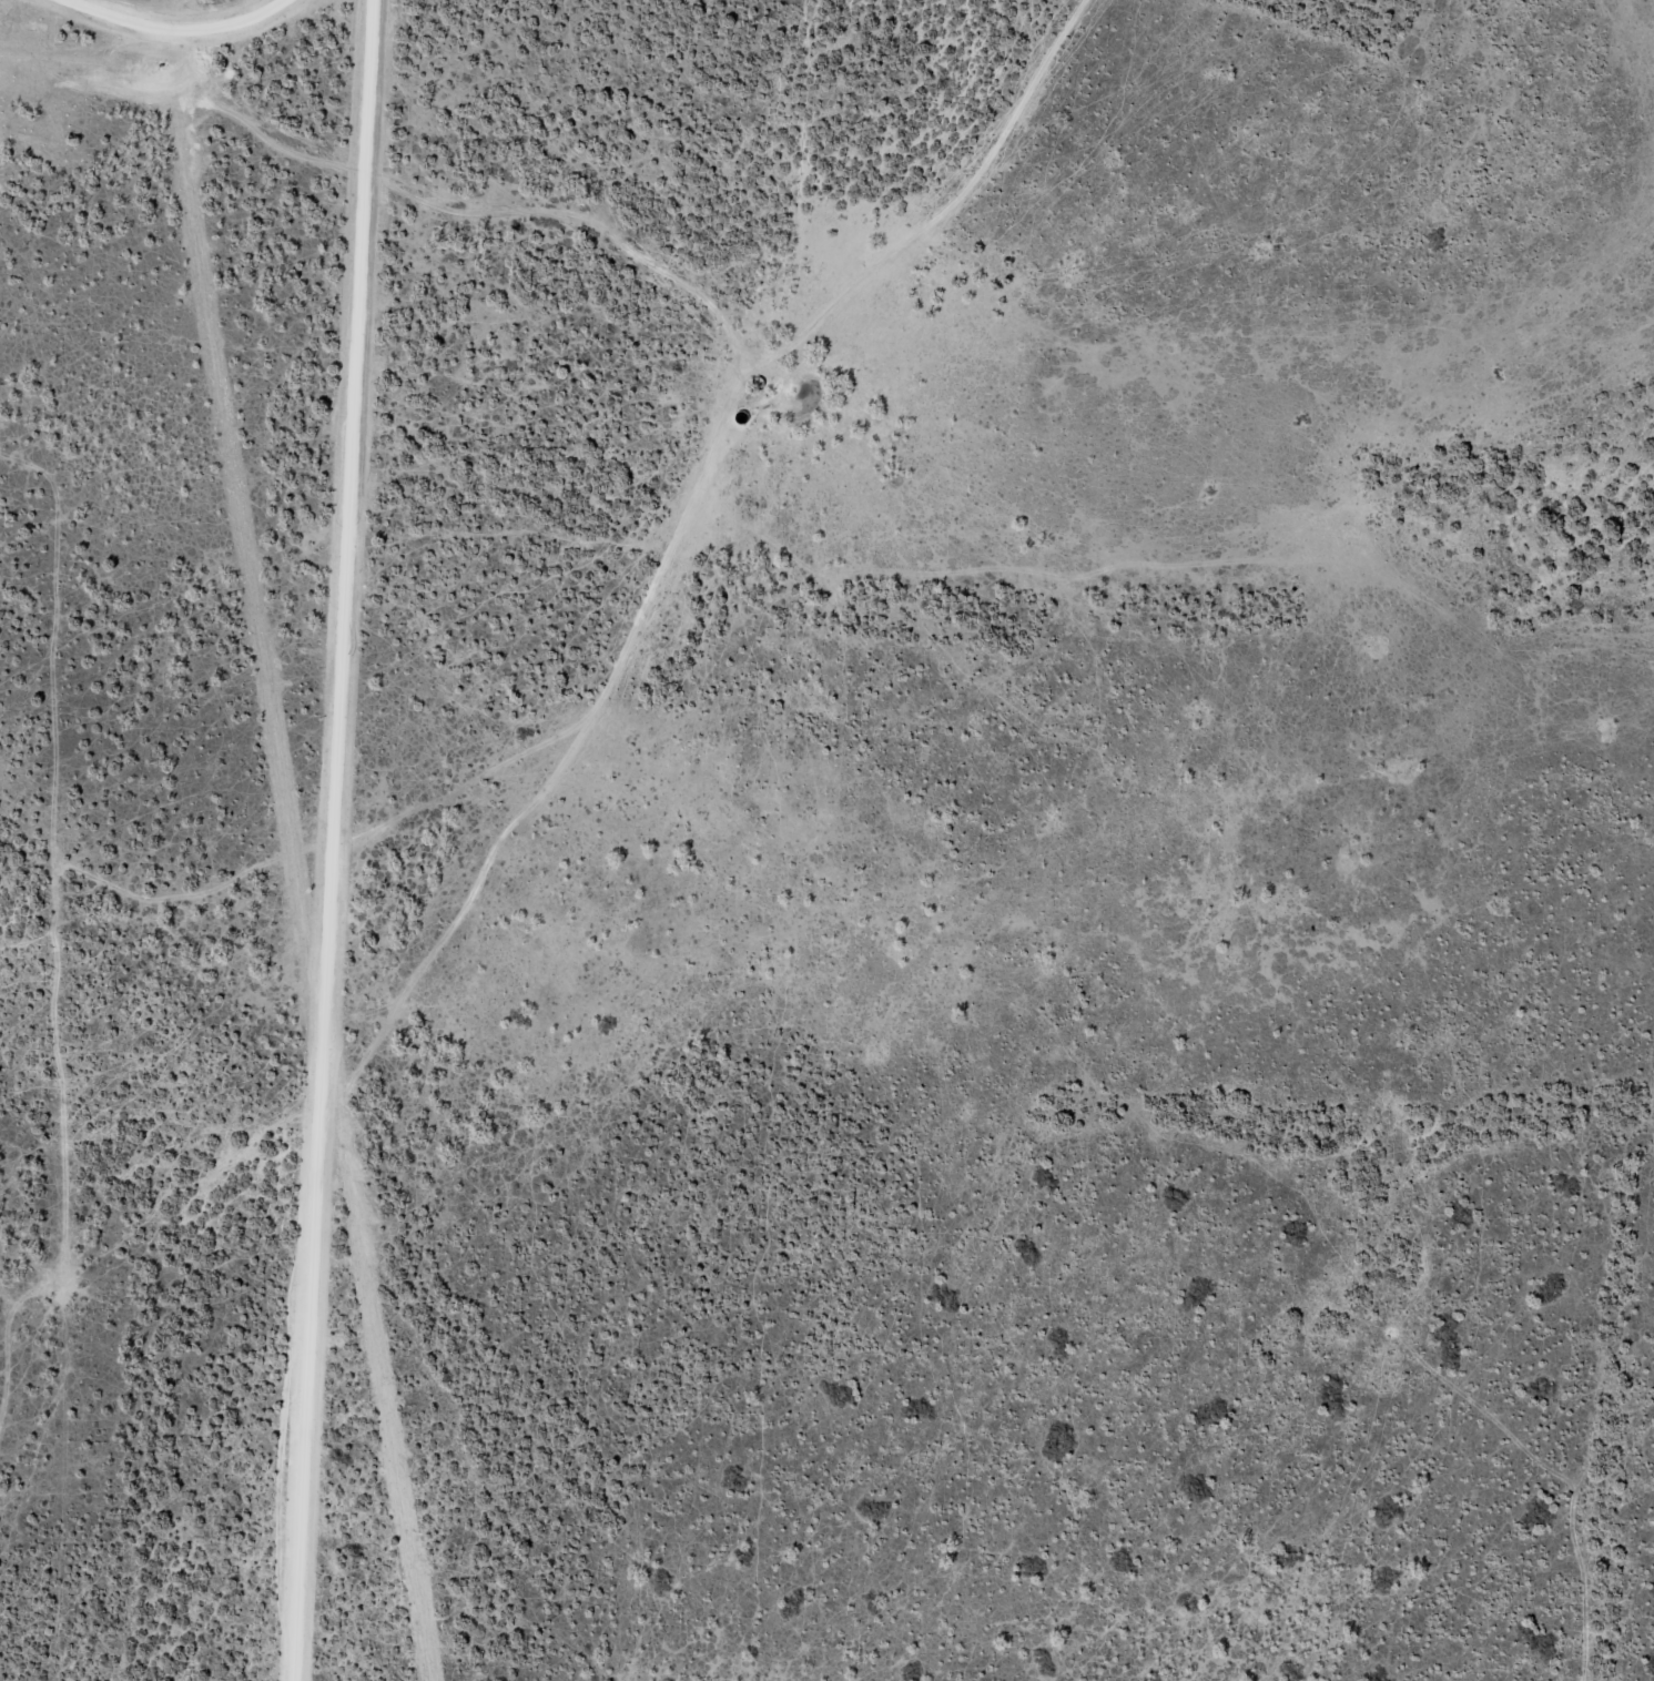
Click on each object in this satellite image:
road: (610, 701)
road: (303, 1410)

